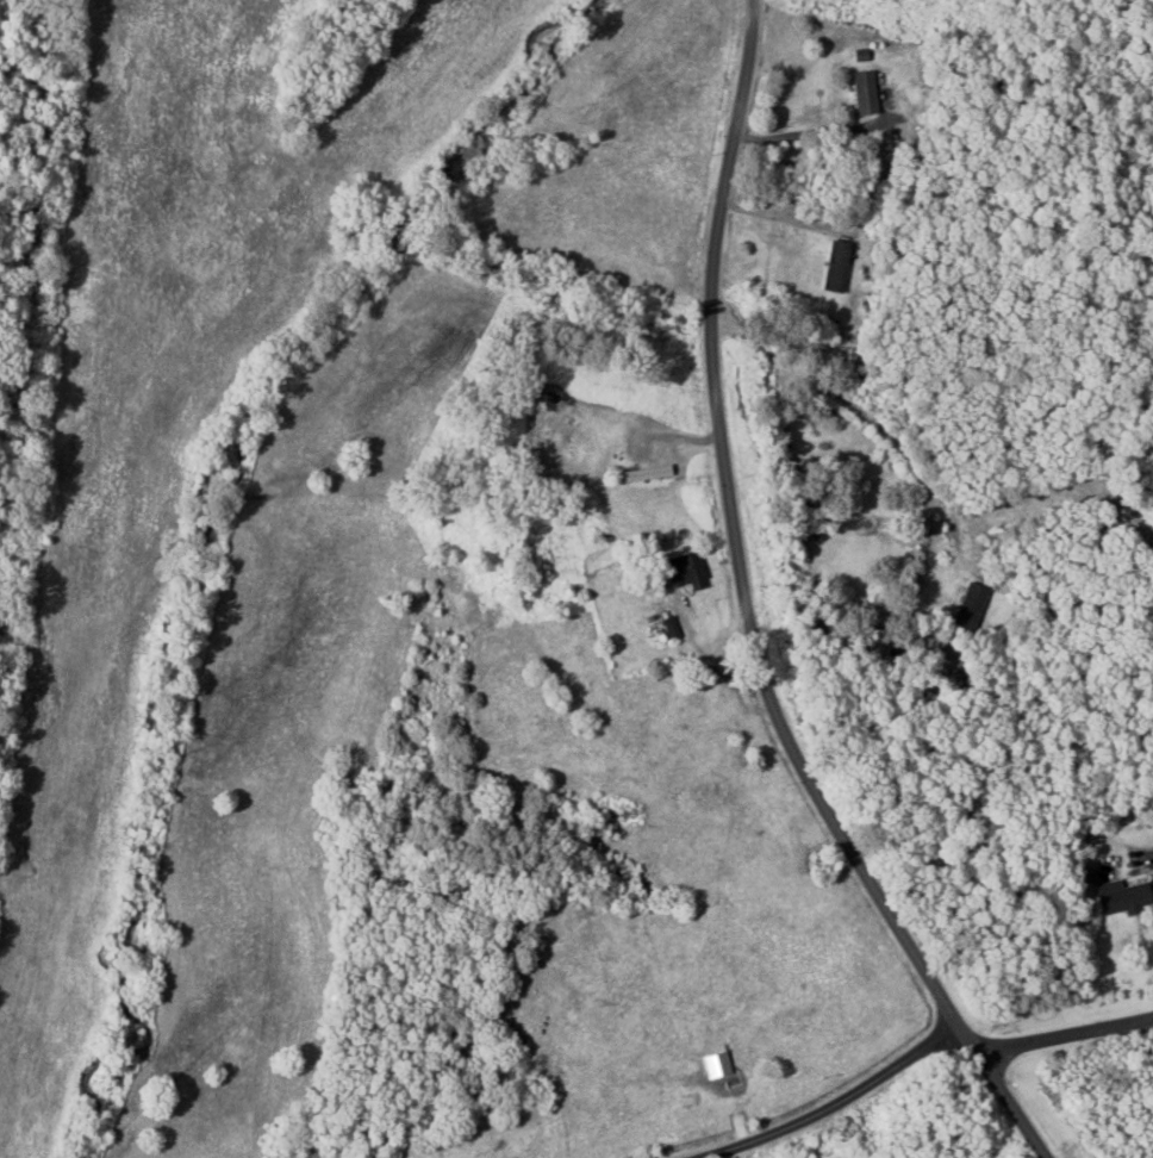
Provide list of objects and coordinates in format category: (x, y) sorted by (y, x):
building: (868, 93)
building: (840, 267)
building: (654, 475)
building: (692, 573)
building: (974, 608)
road: (753, 615)
building: (721, 692)
building: (1129, 899)
road: (918, 1056)

